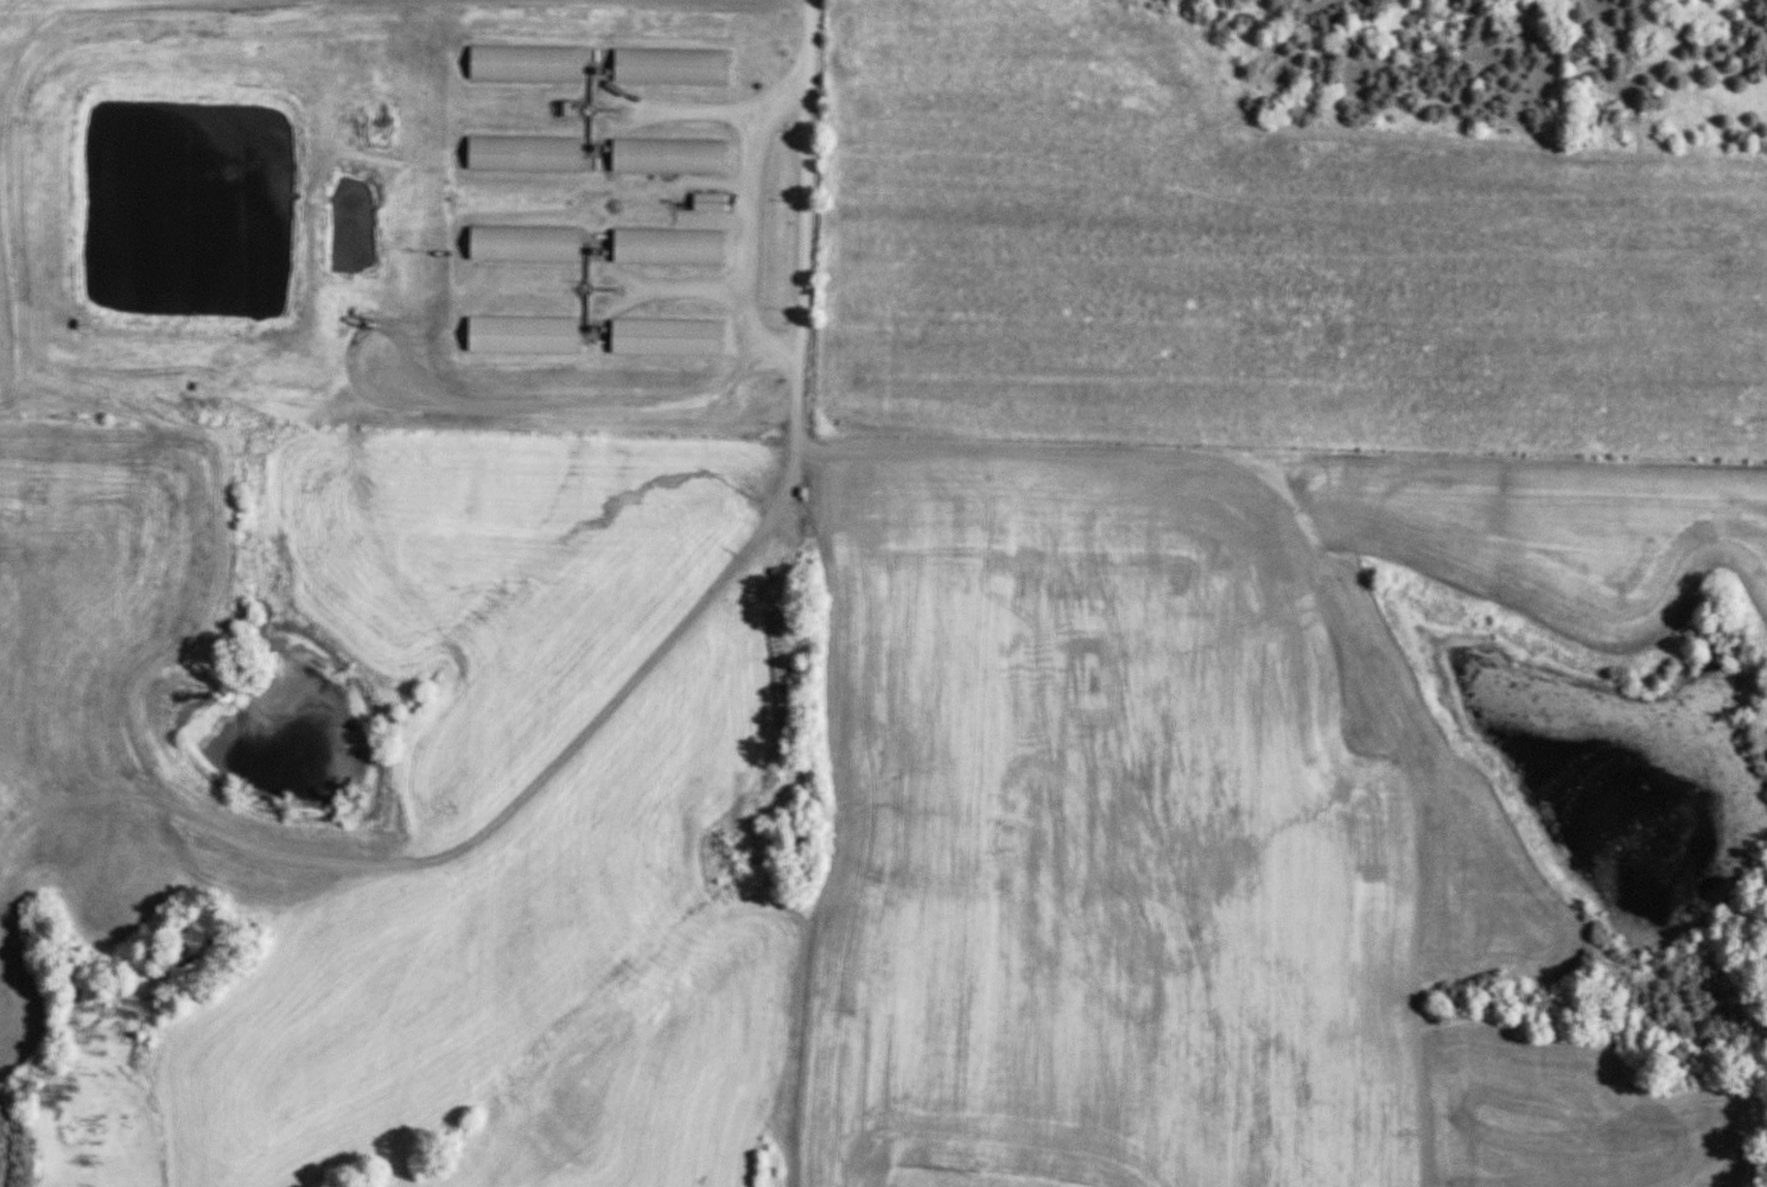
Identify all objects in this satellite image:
road: (805, 44)
building: (525, 63)
building: (669, 65)
building: (526, 153)
building: (668, 155)
building: (707, 202)
building: (523, 242)
building: (668, 247)
building: (523, 334)
building: (666, 337)
road: (758, 341)

